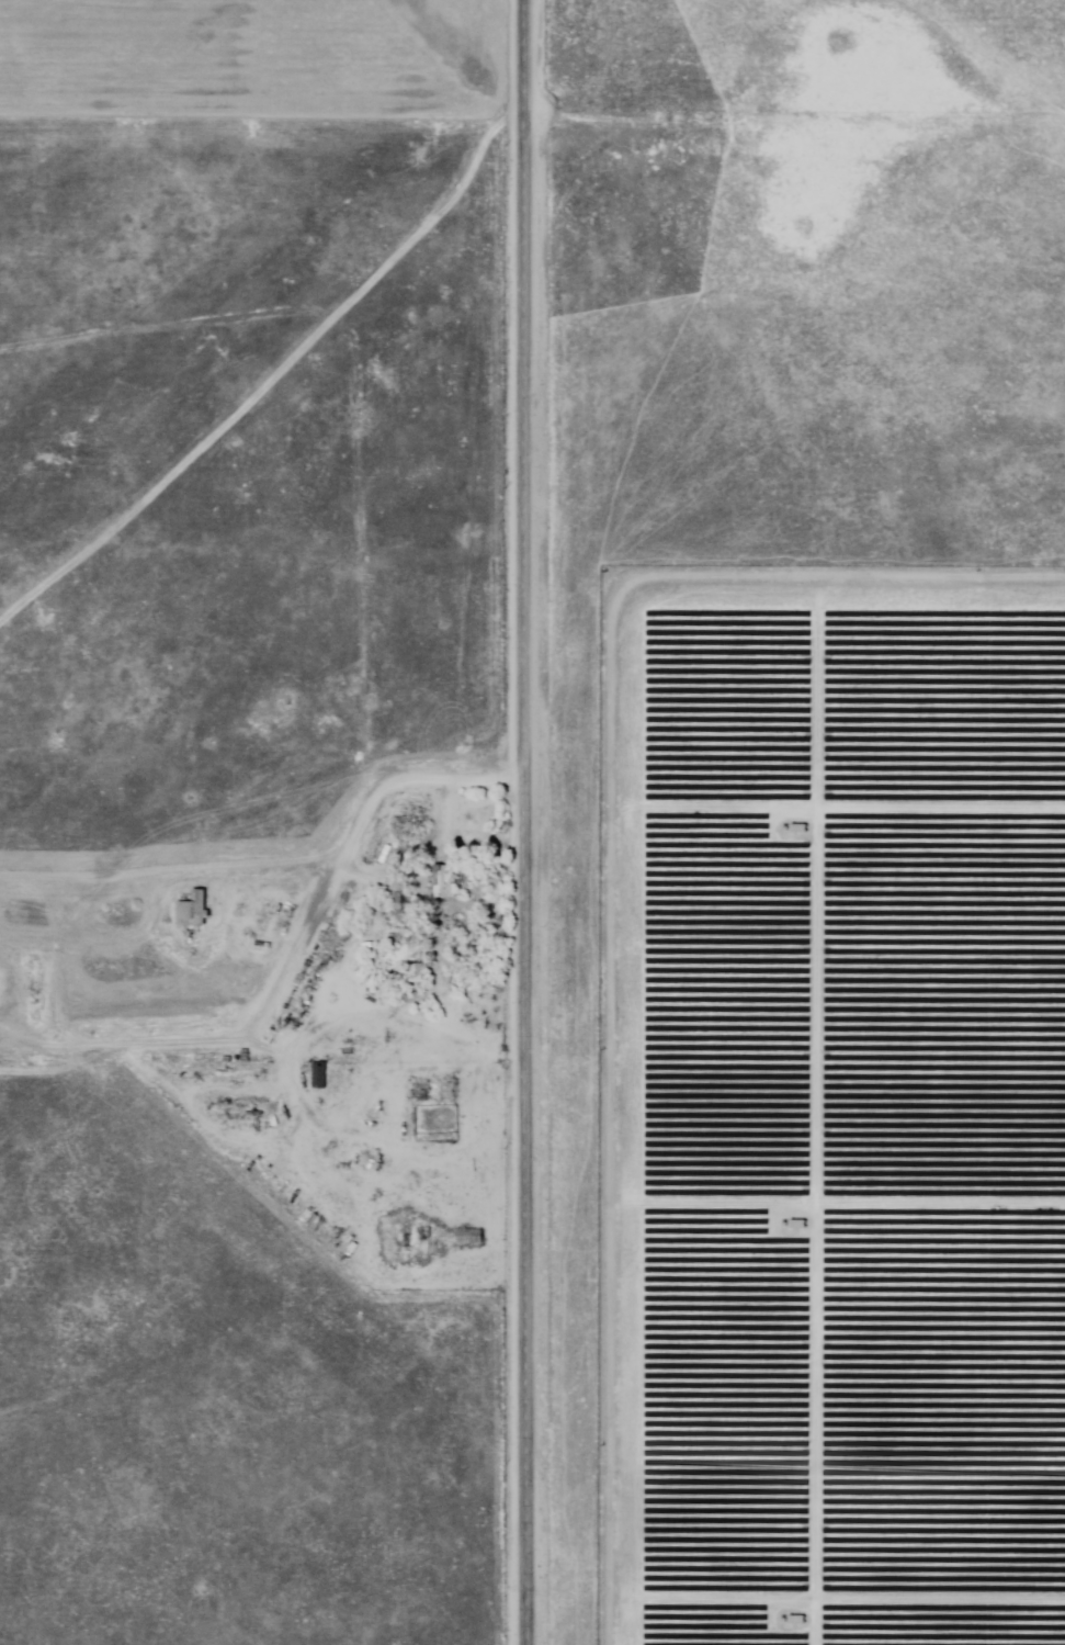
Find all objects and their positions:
road: (797, 46)
road: (525, 822)
solar farm: (813, 822)
road: (158, 867)
building: (443, 882)
building: (193, 909)
road: (295, 962)
building: (411, 971)
road: (454, 1015)
building: (319, 1074)
building: (468, 1237)
building: (433, 1239)

